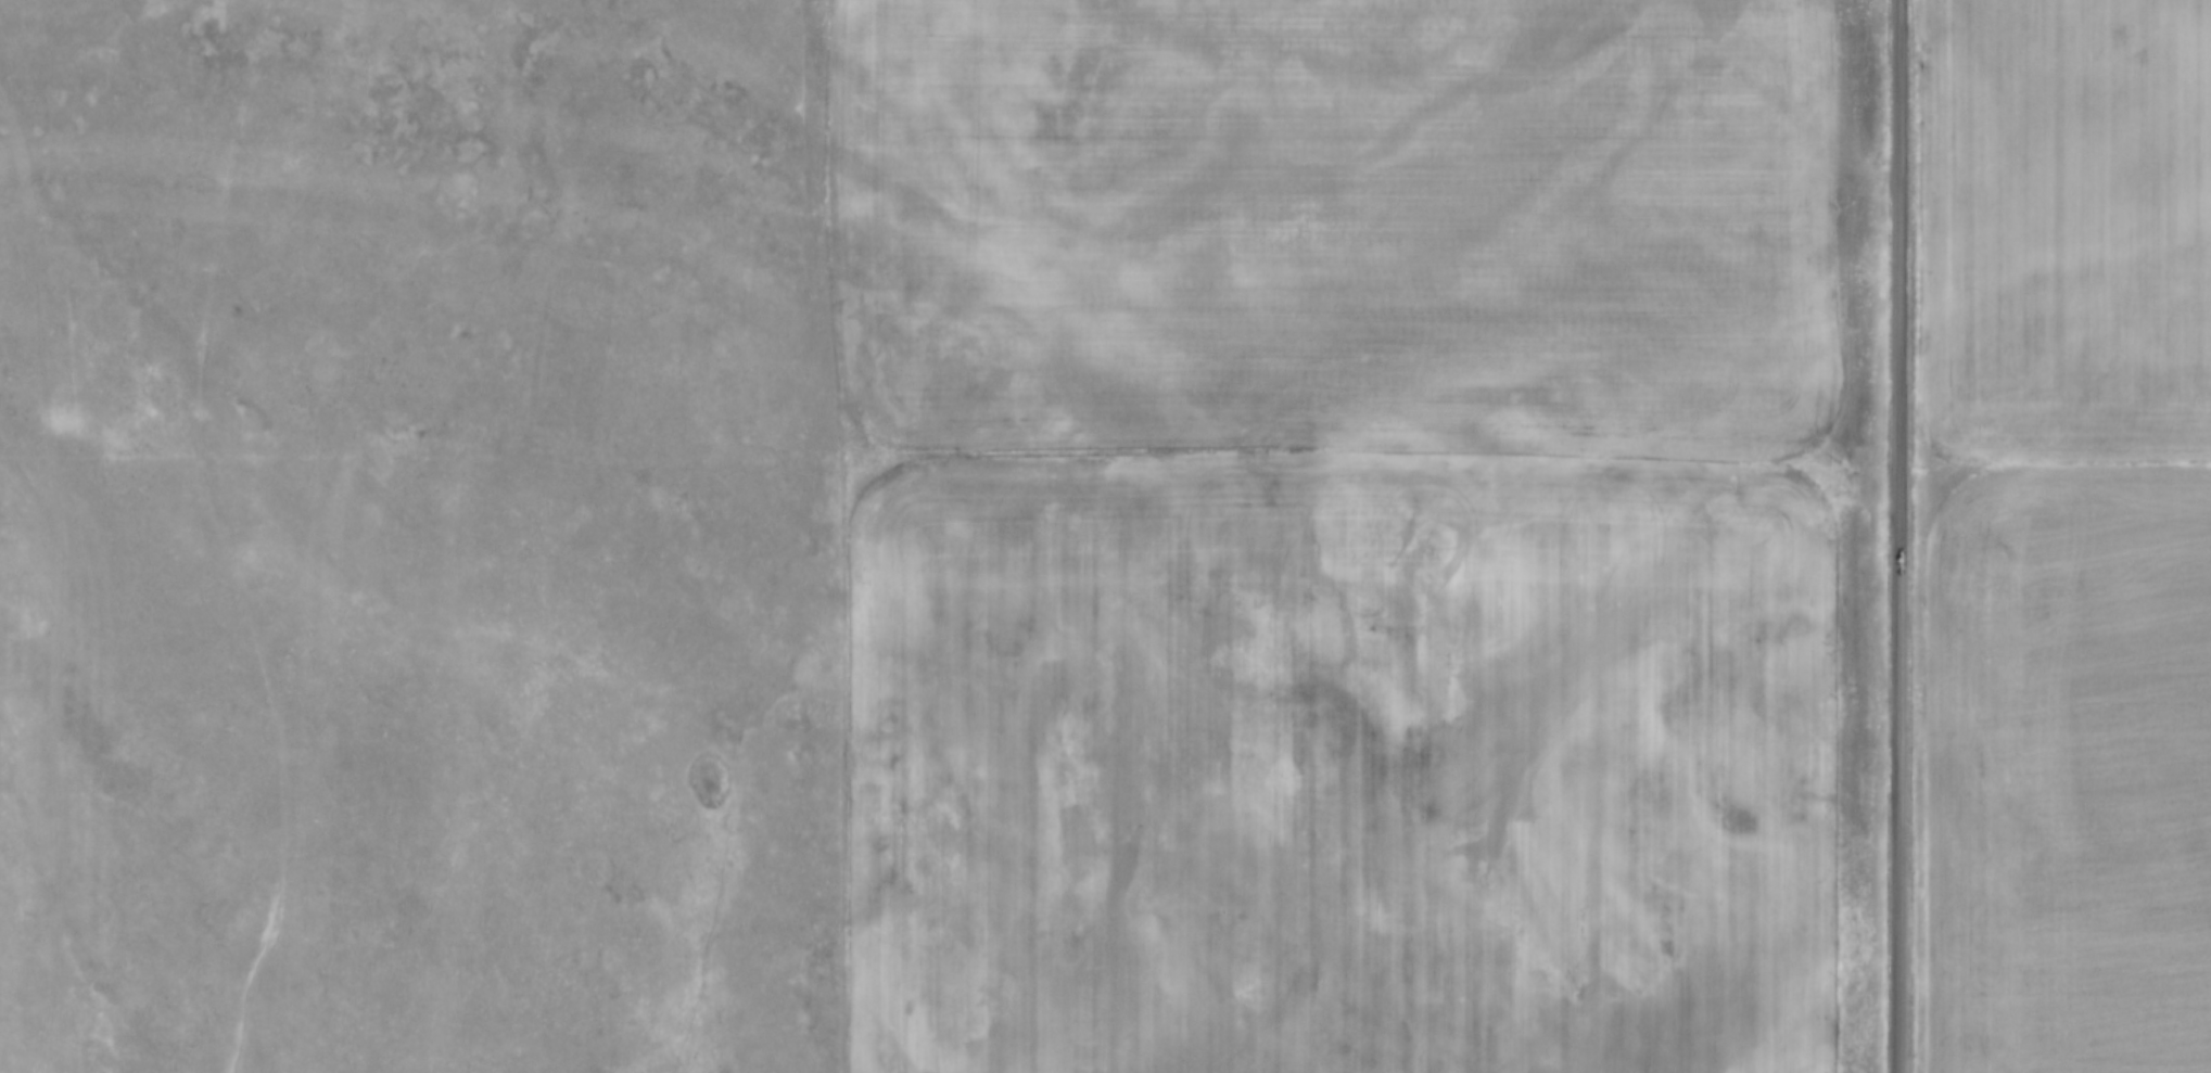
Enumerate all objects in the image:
road: (1901, 536)

